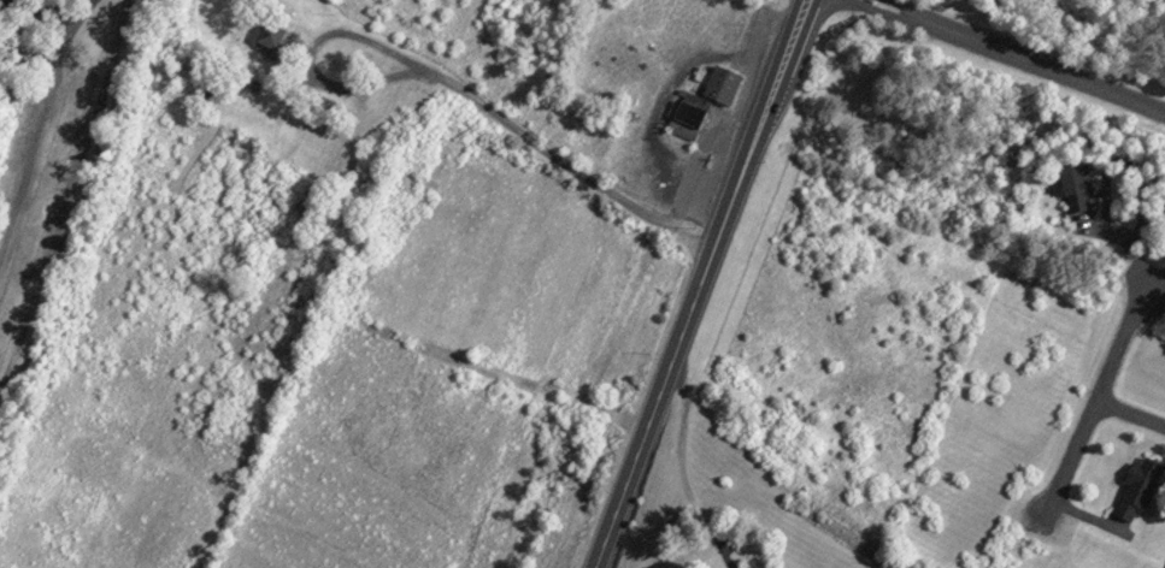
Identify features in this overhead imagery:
road: (67, 20)
building: (270, 35)
road: (1022, 54)
building: (253, 79)
road: (451, 79)
building: (200, 90)
building: (704, 96)
building: (323, 100)
parking lot: (712, 125)
road: (35, 130)
parking lot: (30, 143)
building: (1076, 185)
road: (66, 191)
road: (696, 283)
road: (1108, 368)
road: (1072, 456)
building: (1138, 483)
building: (751, 566)

